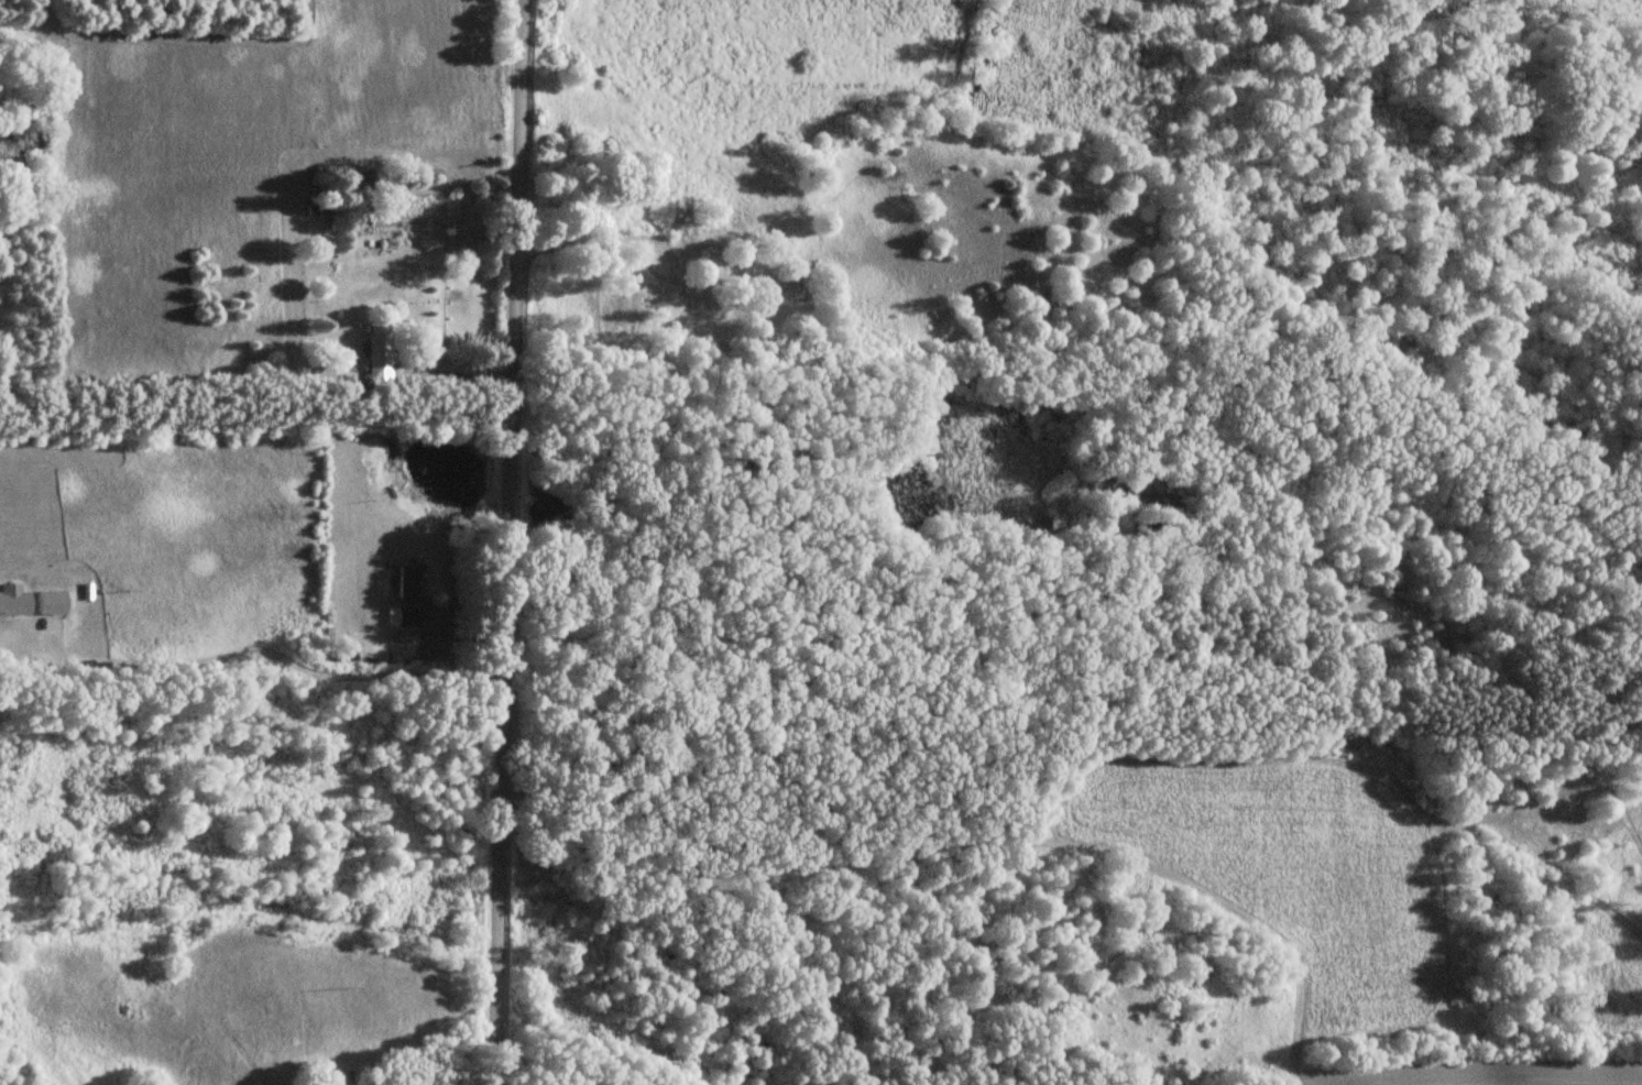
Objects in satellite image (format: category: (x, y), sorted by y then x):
building: (315, 209)
building: (375, 355)
road: (451, 372)
road: (505, 541)
building: (407, 582)
building: (406, 615)
road: (300, 661)
road: (963, 844)
building: (129, 1010)

